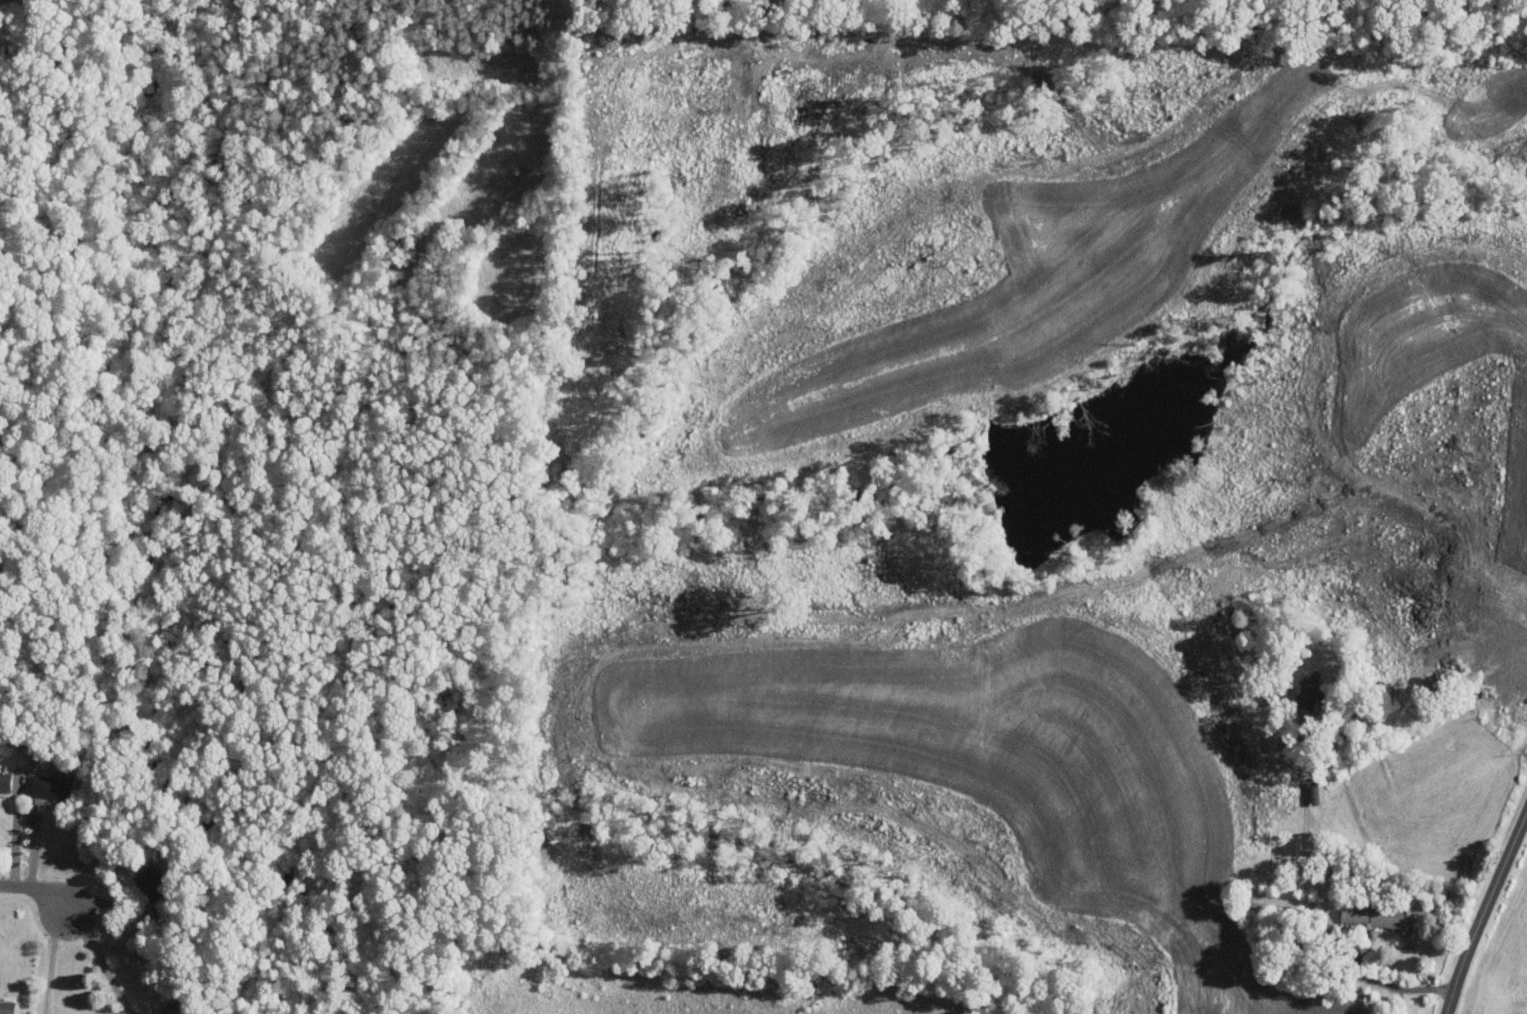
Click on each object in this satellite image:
road: (1504, 9)
dam: (982, 509)
dam: (1001, 566)
building: (5, 780)
building: (52, 786)
road: (15, 839)
building: (150, 883)
road: (38, 888)
building: (1278, 900)
road: (1485, 912)
building: (1379, 914)
road: (1334, 935)
road: (51, 961)
road: (101, 961)
building: (7, 1007)
building: (178, 1007)

